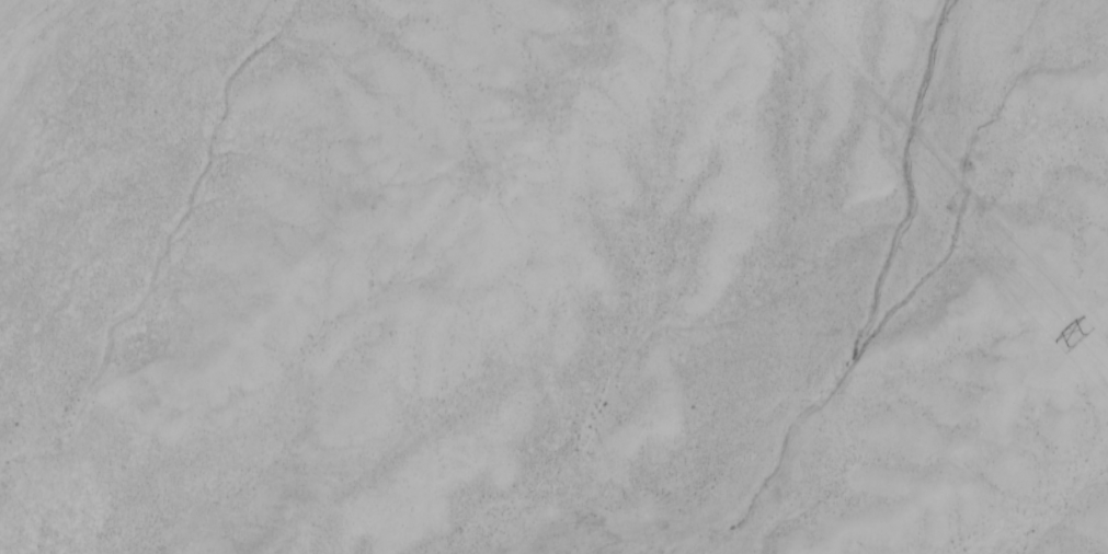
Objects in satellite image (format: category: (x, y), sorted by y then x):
power tower: (1082, 339)

